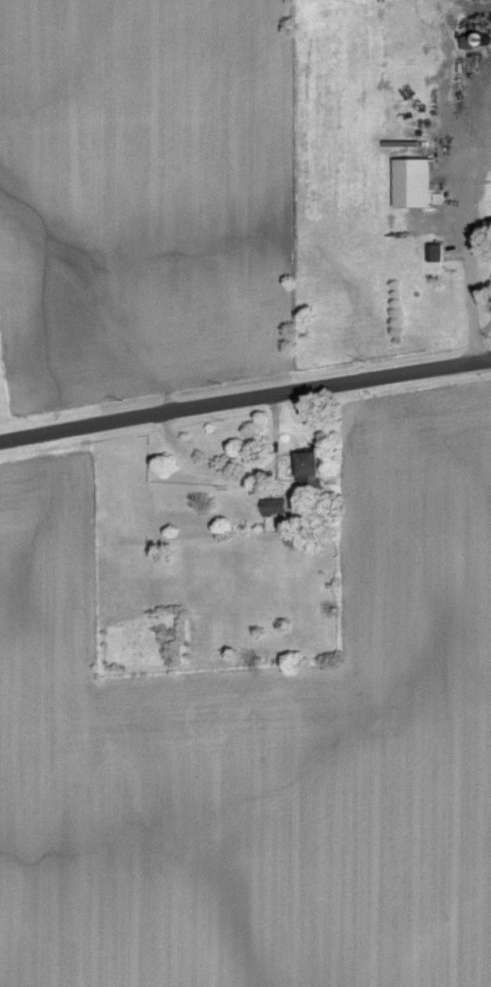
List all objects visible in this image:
building: (421, 183)
road: (473, 269)
road: (245, 397)
building: (278, 506)

